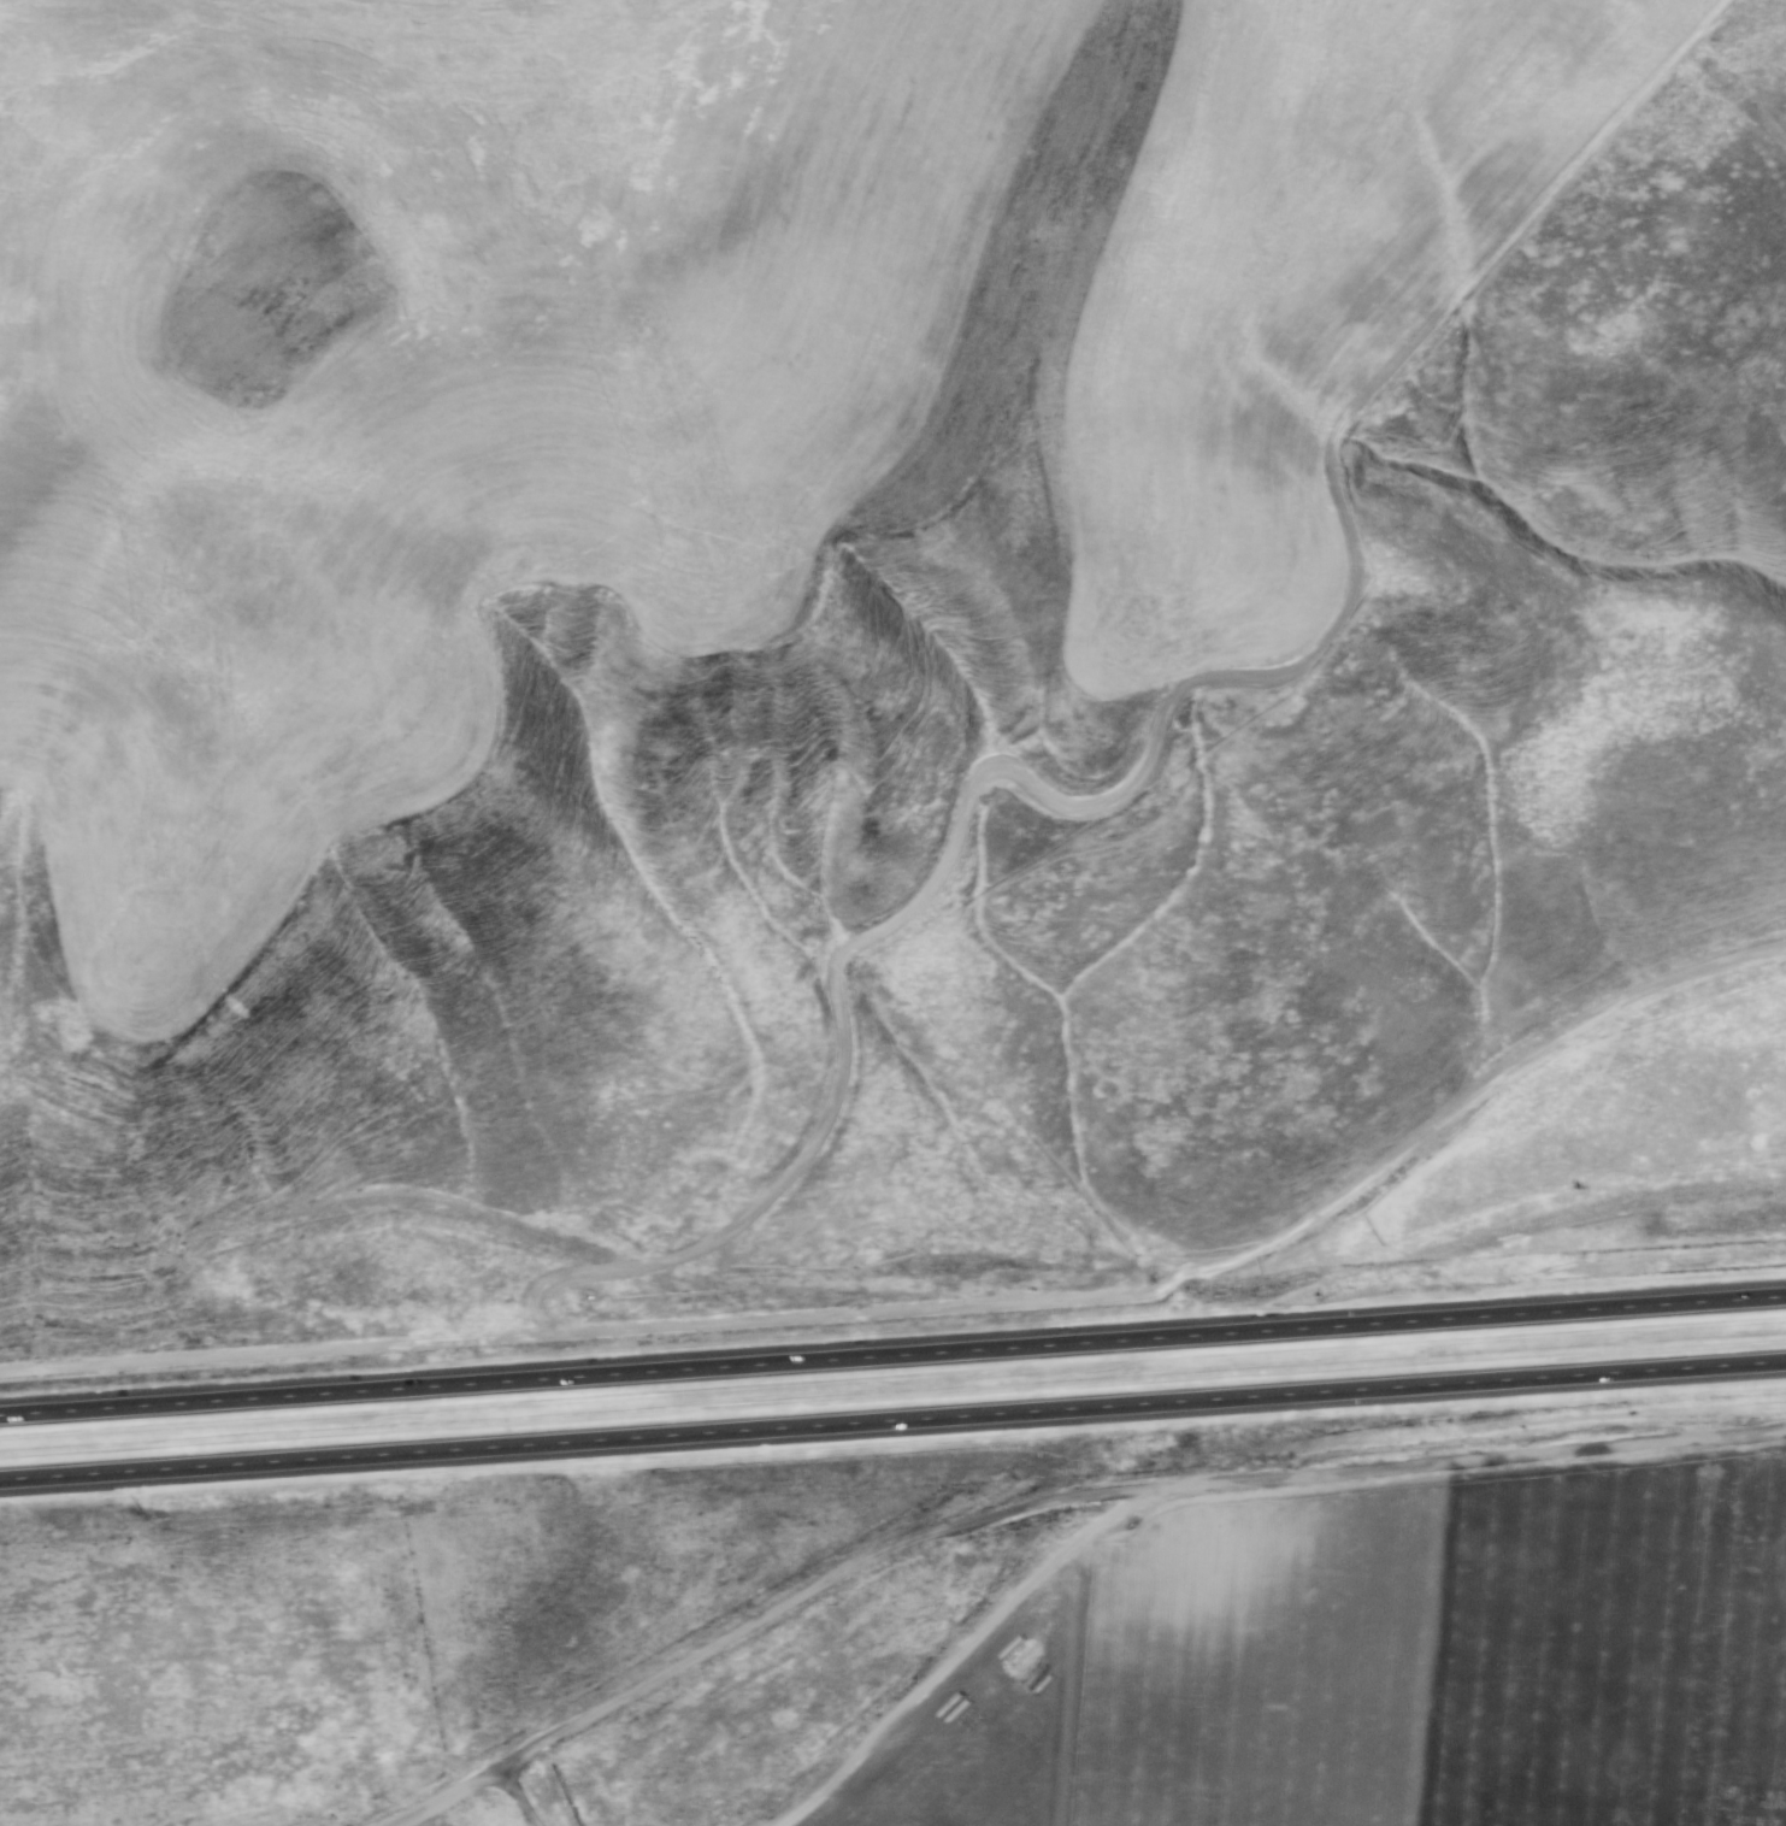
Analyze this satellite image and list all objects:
road: (950, 842)
road: (1242, 1253)
road: (892, 1354)
road: (892, 1422)
road: (1056, 1494)
crop: (1390, 1661)
road: (521, 1797)

